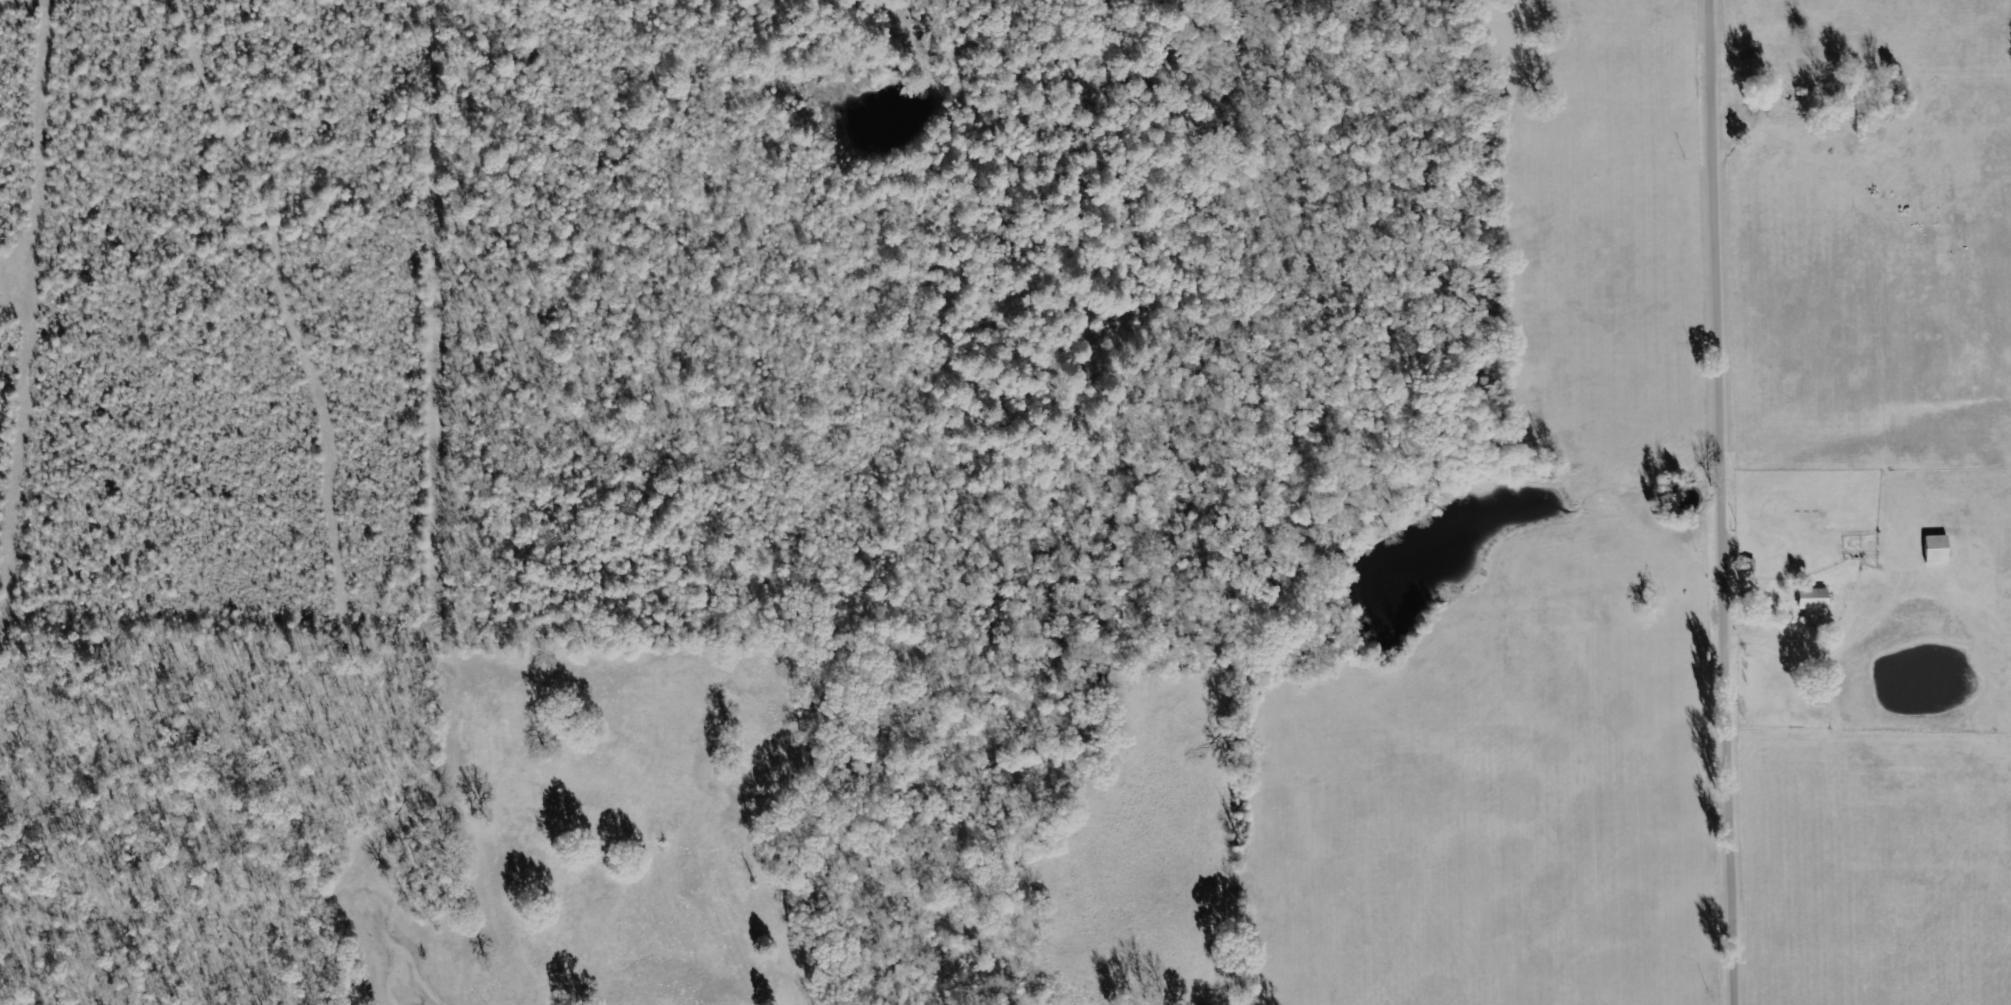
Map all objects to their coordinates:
building: (1749, 69)
road: (1730, 502)
building: (1935, 550)
building: (1811, 600)

